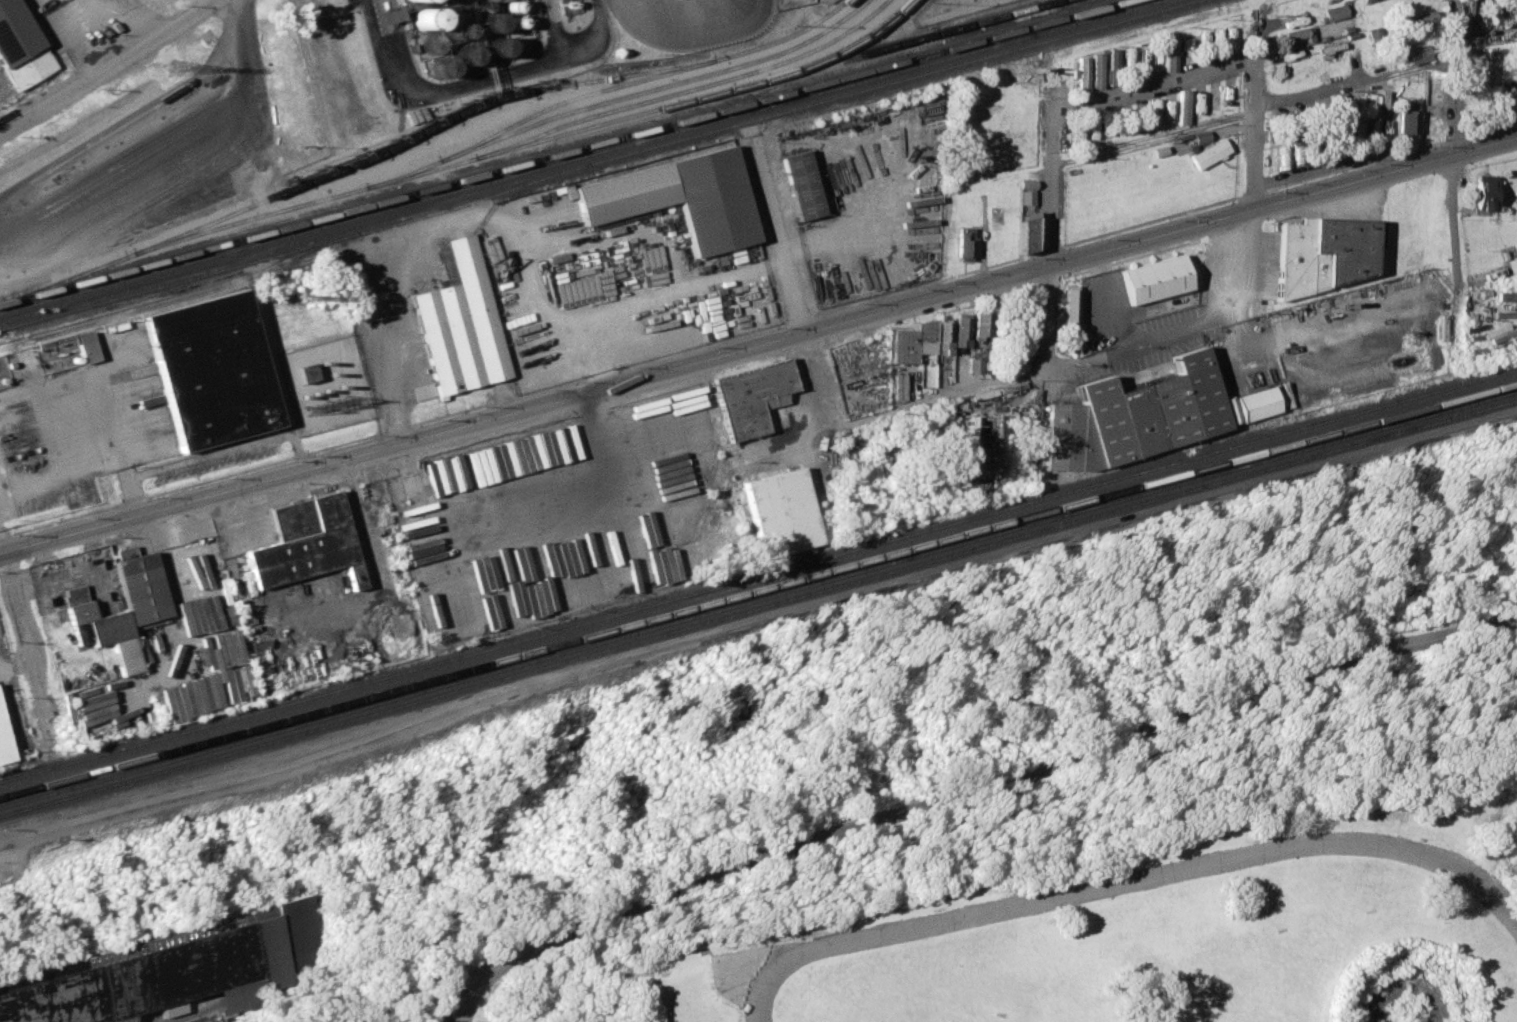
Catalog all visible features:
building: (413, 0)
building: (1334, 11)
building: (385, 14)
building: (423, 17)
building: (1422, 19)
road: (91, 20)
building: (488, 21)
road: (133, 22)
road: (688, 26)
building: (1295, 32)
building: (1374, 33)
railway: (849, 44)
building: (21, 46)
building: (1416, 52)
road: (108, 67)
building: (1096, 69)
building: (1081, 74)
road: (480, 78)
railway: (643, 78)
road: (1157, 82)
railway: (683, 89)
railway: (621, 96)
building: (1508, 96)
building: (1384, 99)
building: (1369, 104)
building: (1182, 106)
building: (1353, 106)
road: (1256, 108)
building: (1338, 109)
railway: (457, 111)
building: (1407, 120)
building: (1371, 127)
road: (1, 128)
building: (1200, 135)
railway: (525, 143)
building: (1160, 149)
railway: (564, 152)
building: (1208, 152)
railway: (579, 156)
railway: (597, 160)
road: (1255, 167)
road: (1459, 177)
building: (1026, 183)
building: (800, 184)
building: (1483, 190)
building: (680, 197)
road: (1050, 229)
building: (1025, 231)
road: (777, 232)
building: (963, 243)
building: (1322, 253)
road: (523, 259)
building: (1156, 278)
road: (674, 289)
railway: (189, 295)
building: (1506, 296)
building: (1068, 303)
road: (379, 314)
building: (457, 323)
building: (980, 324)
building: (961, 330)
building: (944, 338)
building: (910, 339)
building: (86, 346)
road: (758, 346)
road: (1074, 357)
building: (975, 364)
building: (211, 369)
building: (305, 372)
power substation: (326, 385)
building: (752, 395)
building: (1257, 402)
road: (393, 405)
building: (1135, 414)
building: (978, 443)
building: (780, 511)
building: (306, 541)
railway: (758, 574)
railway: (758, 589)
railway: (758, 598)
railway: (758, 607)
building: (139, 610)
road: (29, 643)
road: (16, 664)
building: (5, 739)
road: (969, 785)
park: (1014, 791)
road: (1129, 882)
building: (183, 968)
road: (462, 1018)

